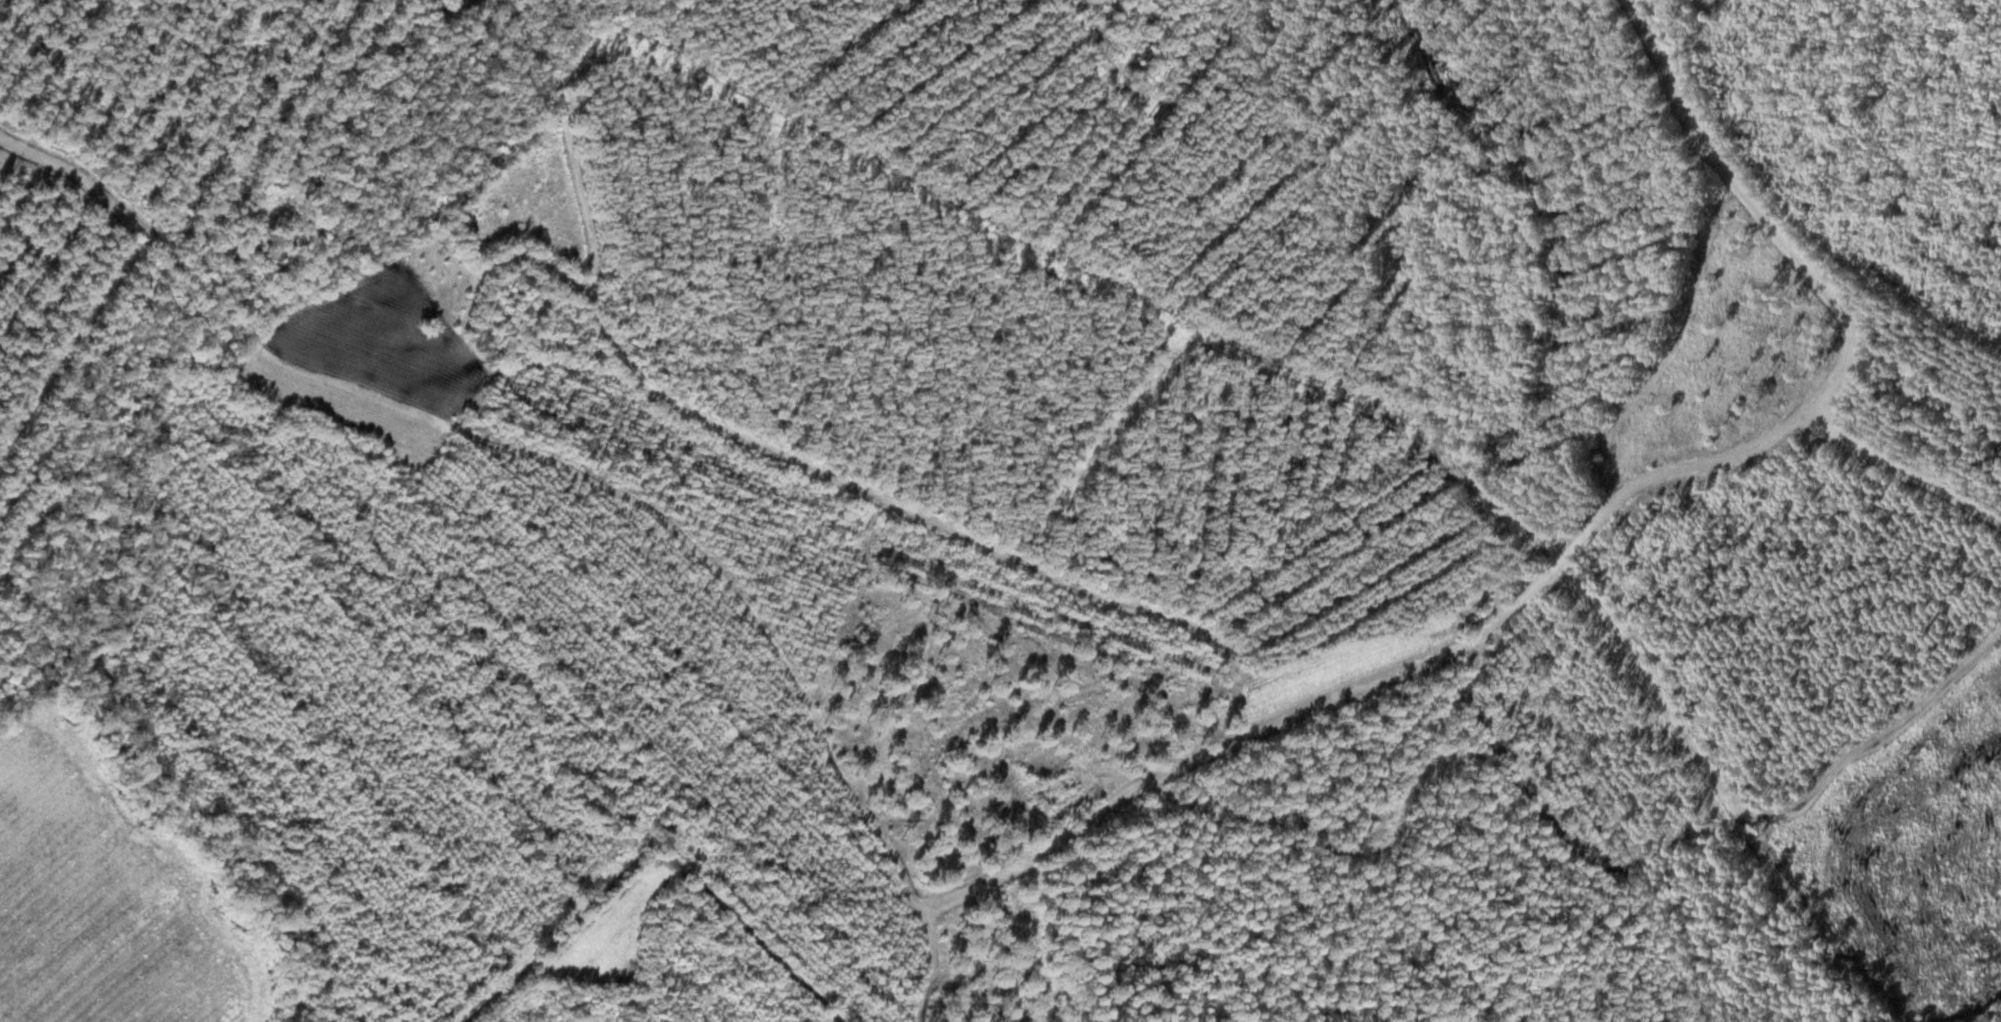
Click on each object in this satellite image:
road: (66, 171)
crop: (339, 406)
road: (1588, 537)
crop: (106, 901)

